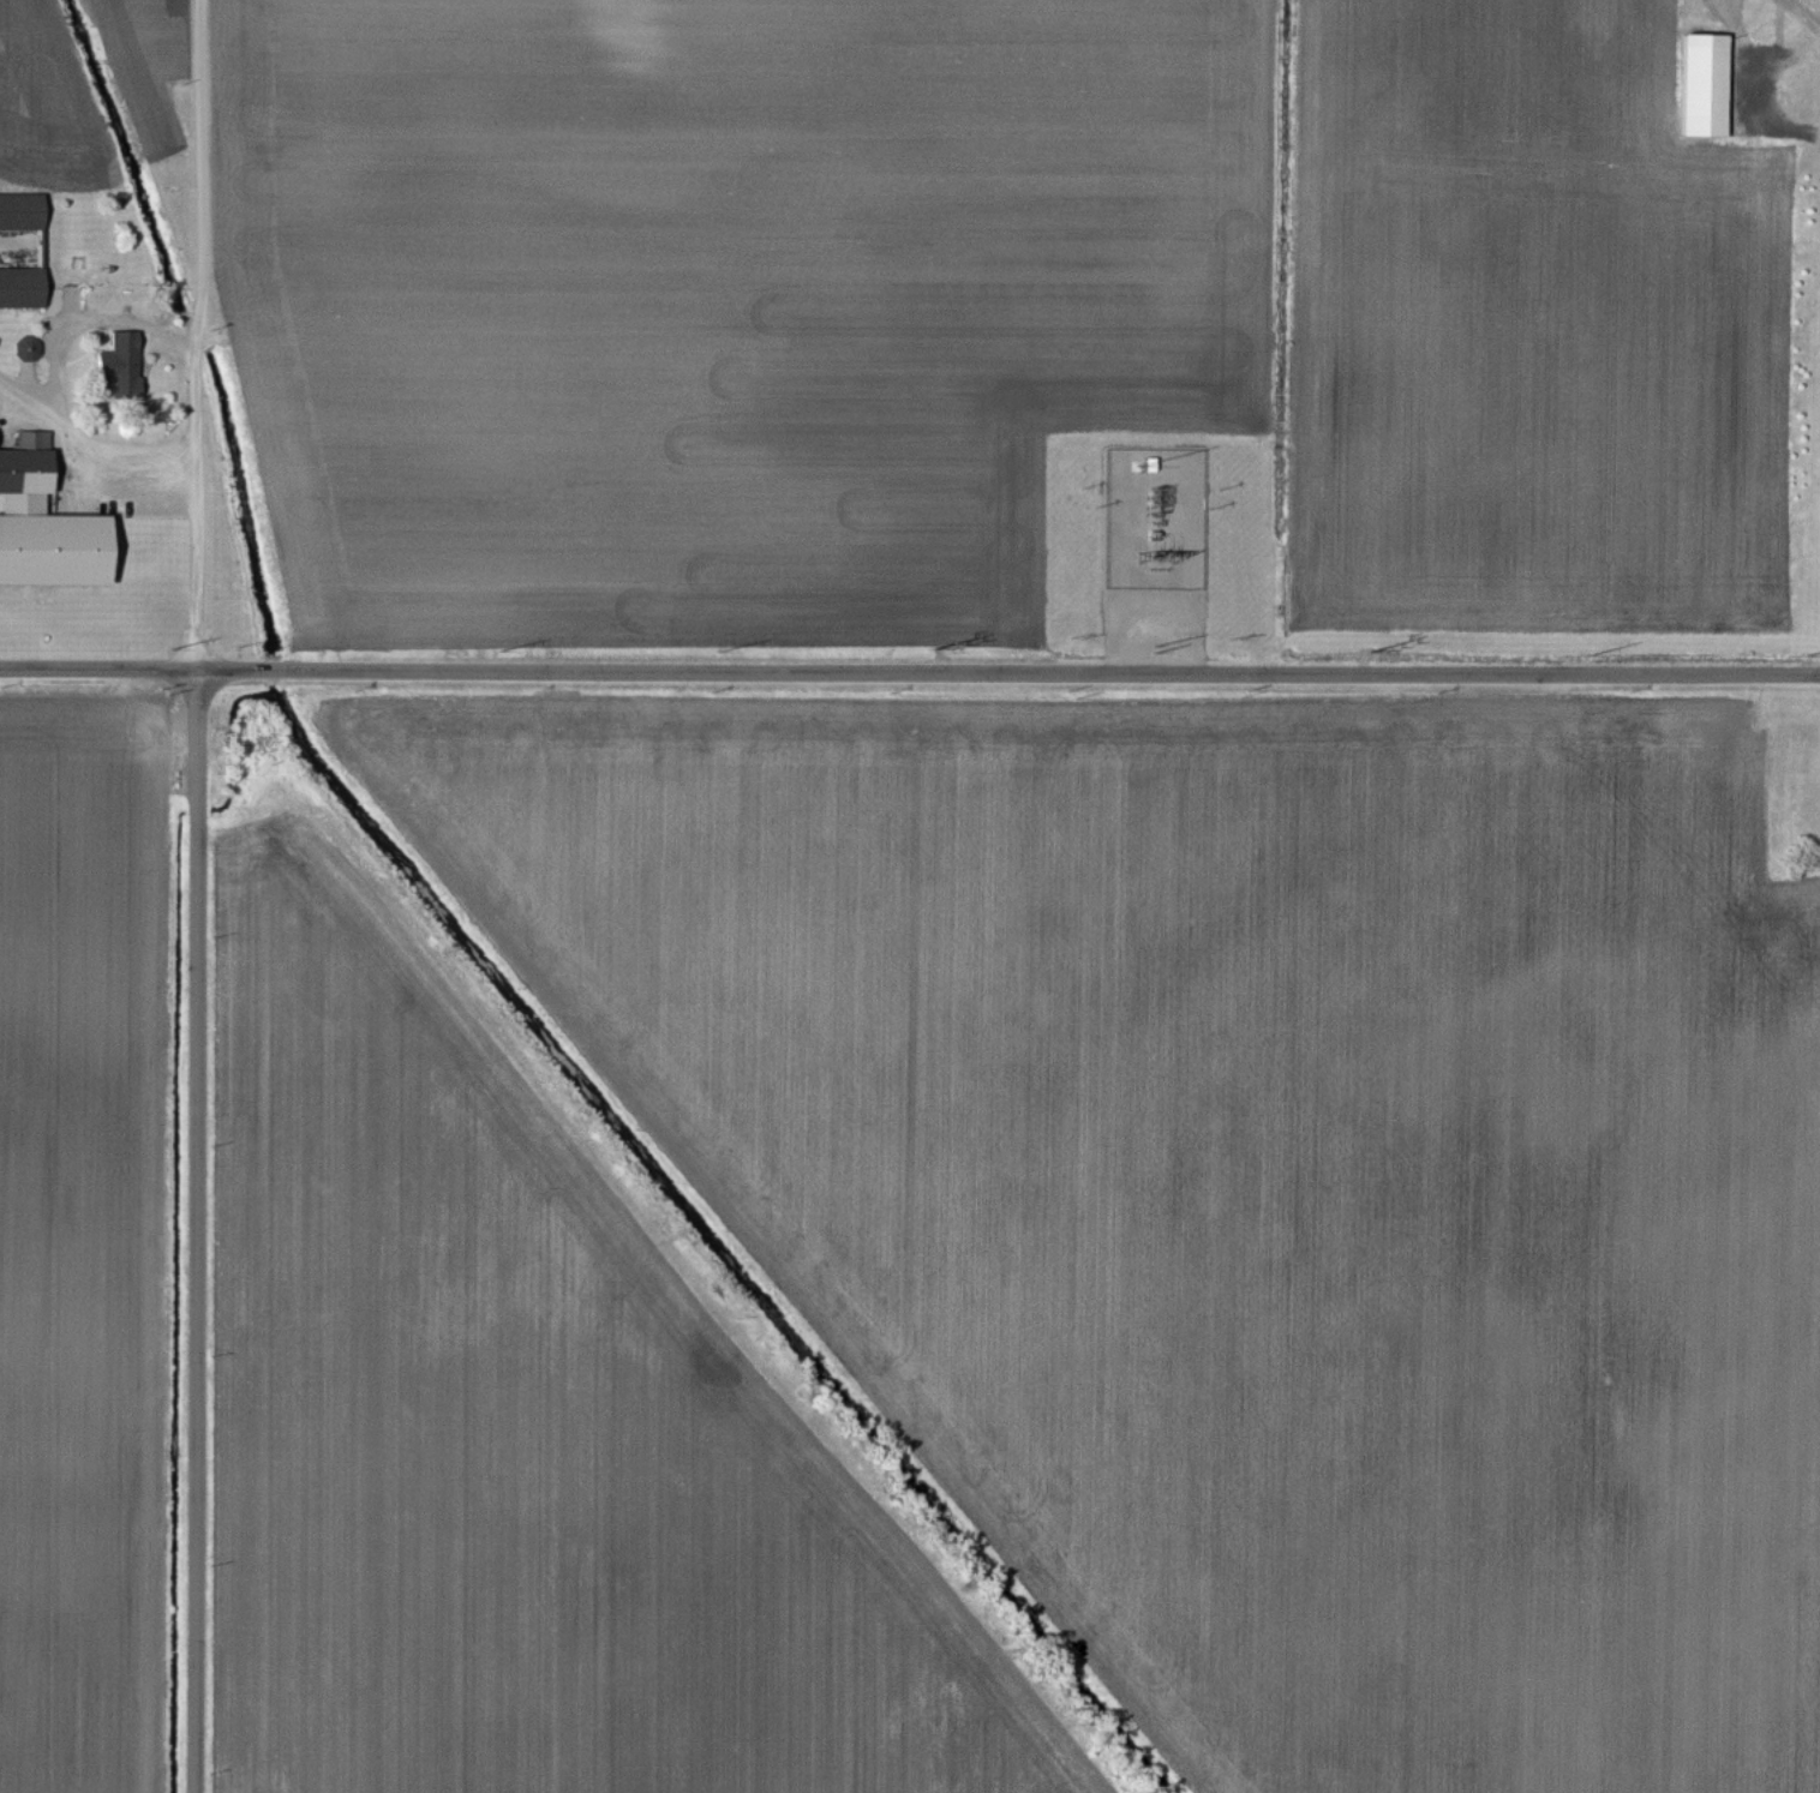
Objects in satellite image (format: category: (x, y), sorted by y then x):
building: (1702, 88)
road: (1749, 90)
building: (20, 212)
building: (20, 289)
road: (84, 313)
building: (26, 350)
building: (118, 367)
road: (85, 450)
building: (43, 529)
road: (909, 673)
road: (194, 895)

